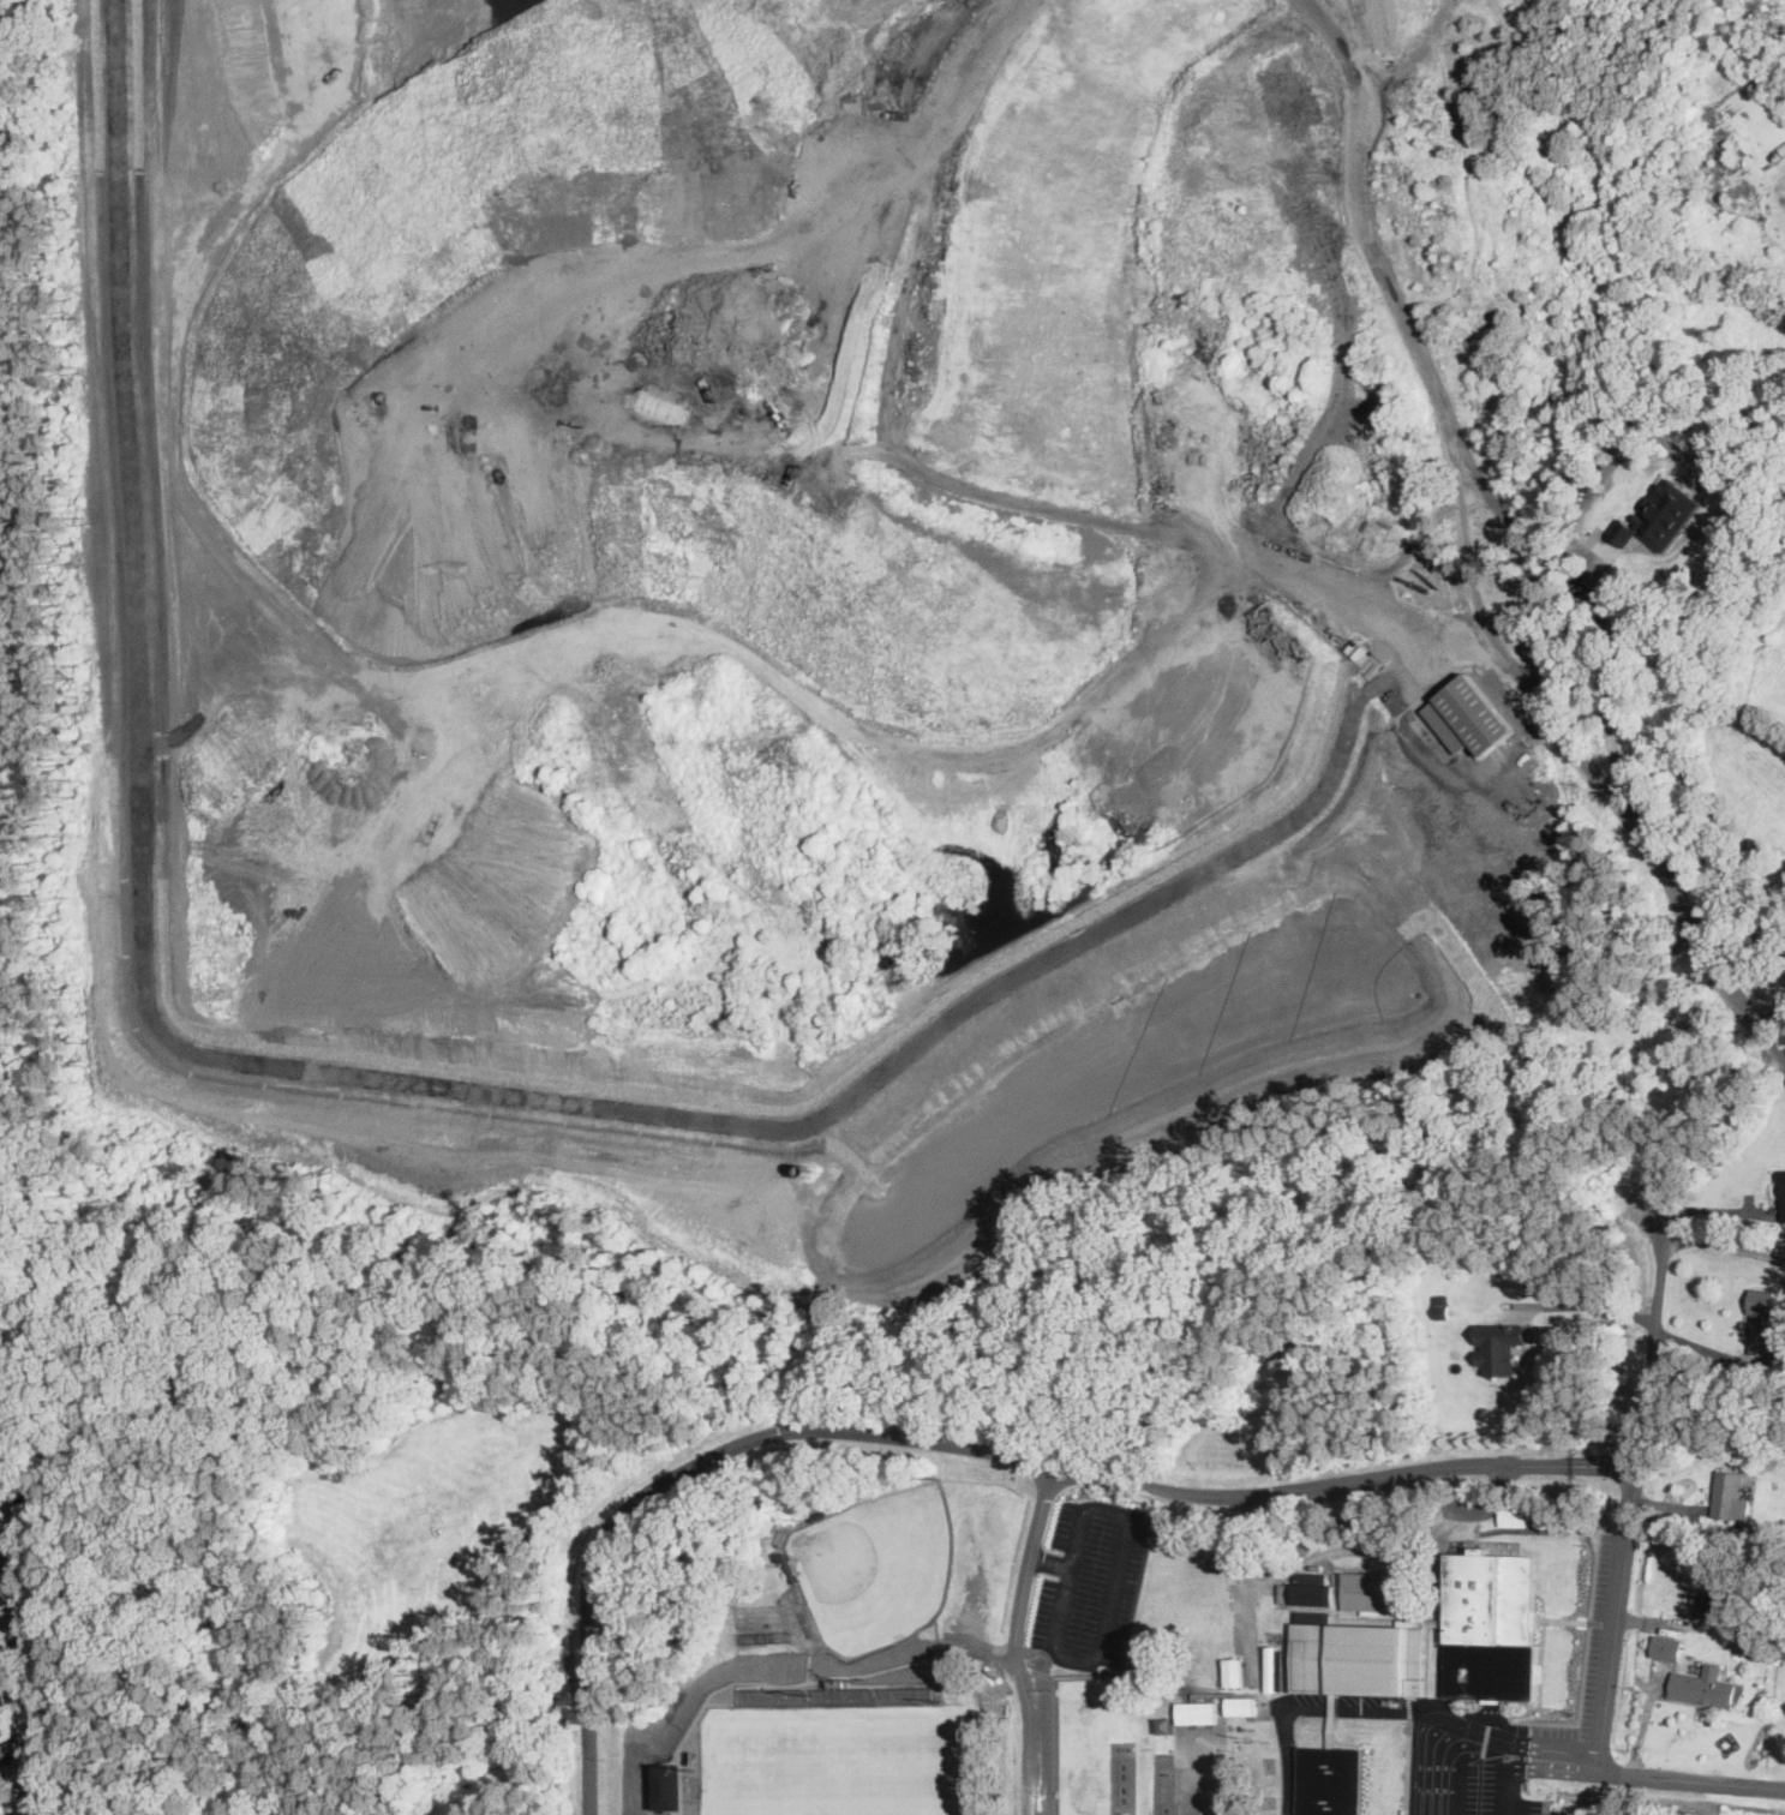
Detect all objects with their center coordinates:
road: (922, 174)
building: (1661, 515)
road: (1470, 556)
road: (1526, 556)
road: (1605, 635)
building: (1467, 715)
building: (1781, 1191)
road: (1709, 1208)
road: (1723, 1244)
building: (5, 1290)
road: (1593, 1301)
building: (1442, 1305)
building: (1765, 1323)
road: (18, 1344)
building: (1499, 1346)
road: (966, 1445)
building: (1731, 1496)
road: (1634, 1497)
building: (1514, 1515)
building: (1550, 1517)
road: (1050, 1561)
park: (876, 1568)
building: (1366, 1592)
building: (1312, 1594)
road: (1112, 1595)
building: (4, 1599)
building: (1492, 1624)
road: (1016, 1637)
building: (1666, 1647)
building: (1358, 1657)
building: (1274, 1667)
building: (1234, 1671)
building: (1705, 1688)
building: (2, 1701)
building: (1240, 1705)
road: (1337, 1707)
building: (1198, 1712)
road: (1539, 1747)
road: (1594, 1761)
road: (1529, 1766)
road: (1455, 1769)
road: (1690, 1779)
building: (1329, 1780)
building: (669, 1785)
road: (628, 1797)

